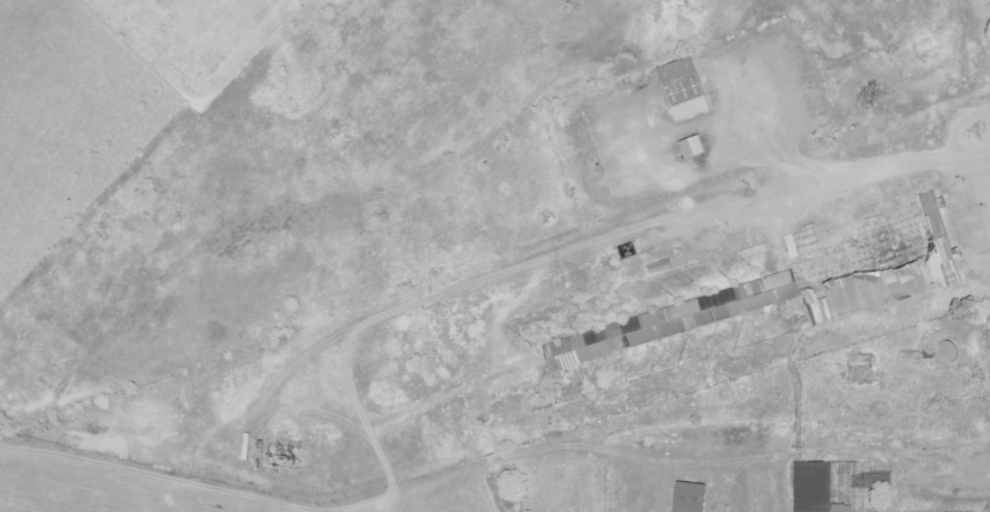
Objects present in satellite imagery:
building: (684, 79)
building: (697, 146)
building: (806, 279)
road: (798, 389)
building: (301, 448)
road: (469, 473)
road: (924, 473)
road: (777, 479)
road: (726, 485)
building: (840, 485)
building: (692, 496)
road: (349, 510)

